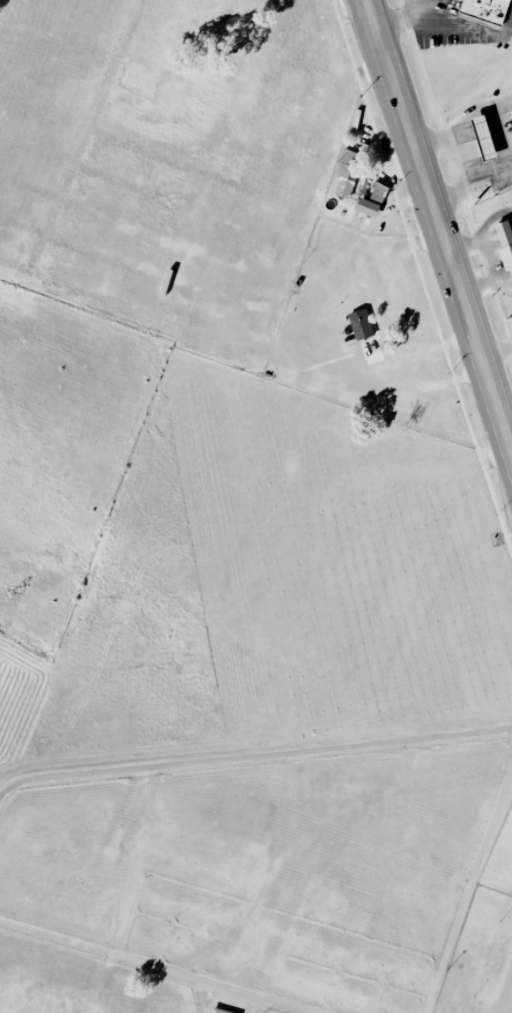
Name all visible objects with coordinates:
building: (485, 10)
road: (408, 20)
road: (499, 135)
building: (483, 138)
road: (458, 159)
building: (346, 173)
building: (371, 201)
road: (440, 225)
building: (505, 244)
building: (360, 324)
road: (496, 349)
road: (254, 757)
road: (468, 891)
road: (153, 967)
road: (506, 995)
road: (229, 1002)
building: (218, 1010)

